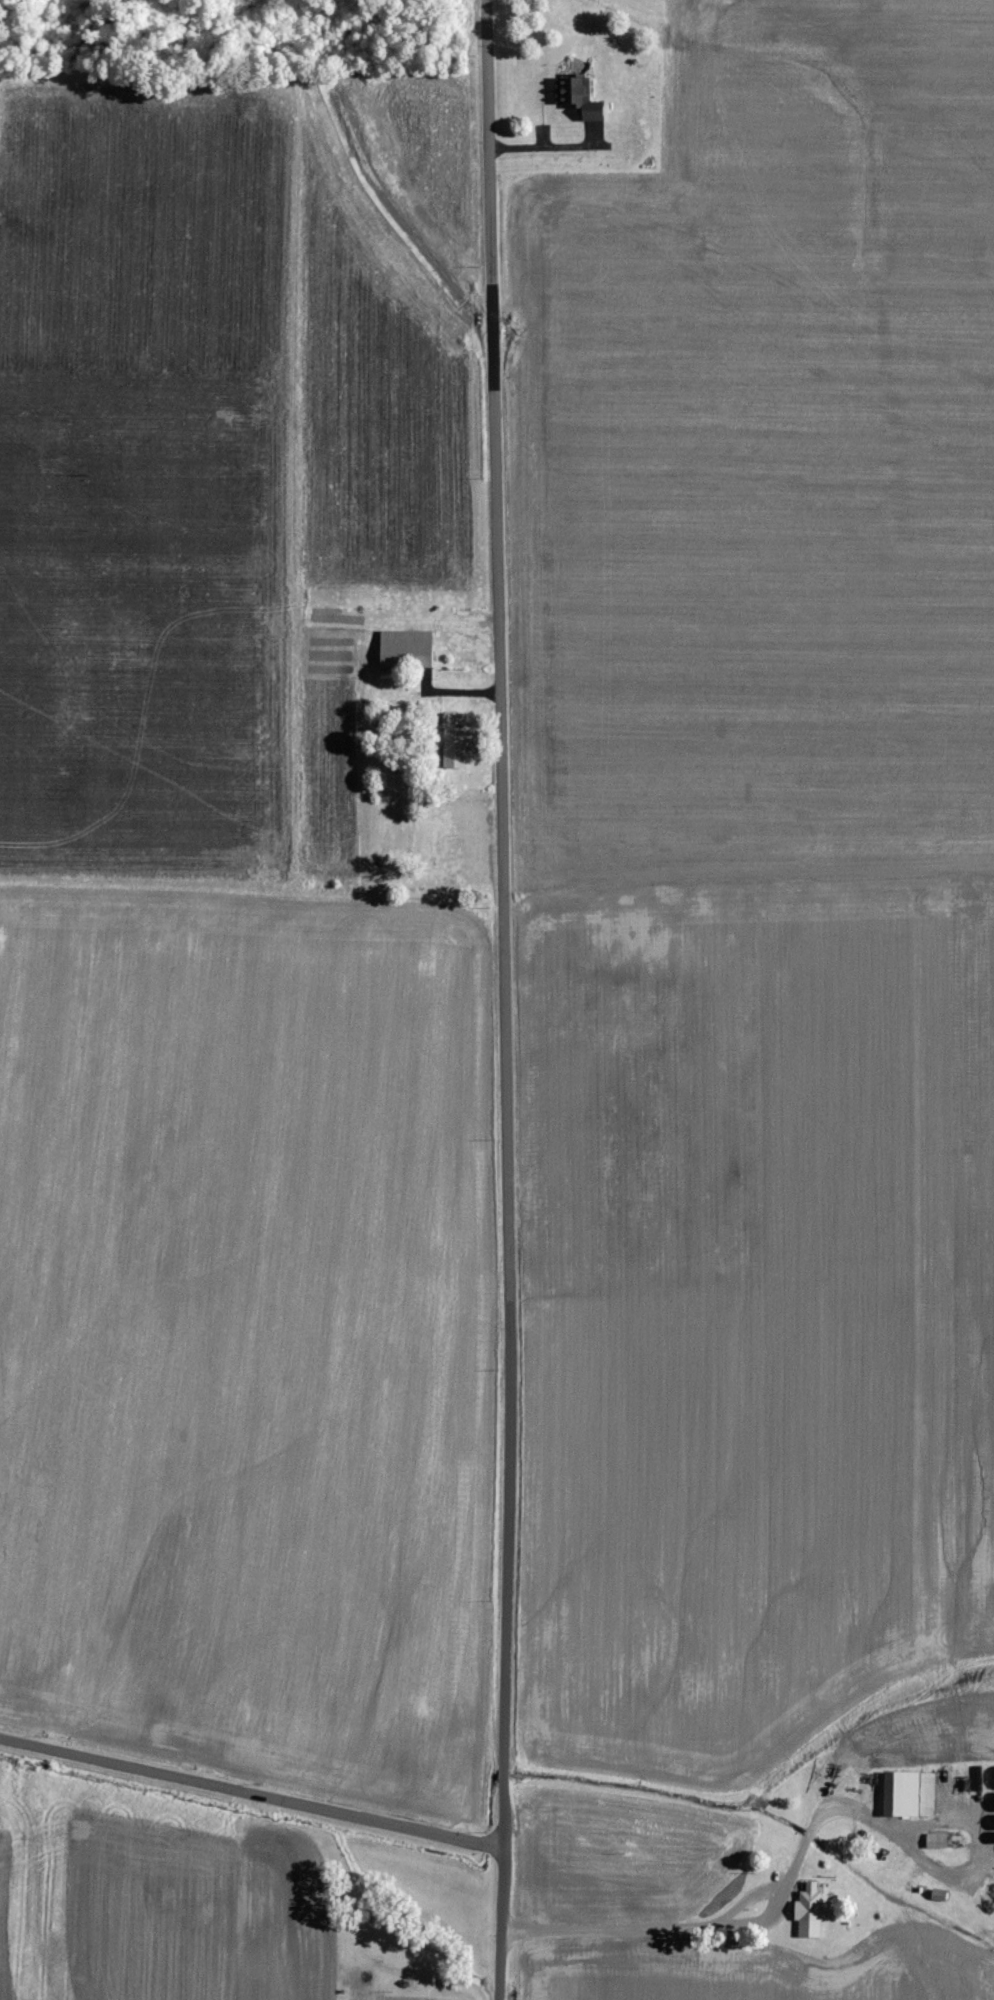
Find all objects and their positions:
building: (410, 647)
road: (502, 664)
building: (459, 738)
road: (506, 1664)
road: (252, 1793)
building: (912, 1793)
building: (939, 1840)
road: (970, 1872)
building: (812, 1911)
road: (734, 1934)

